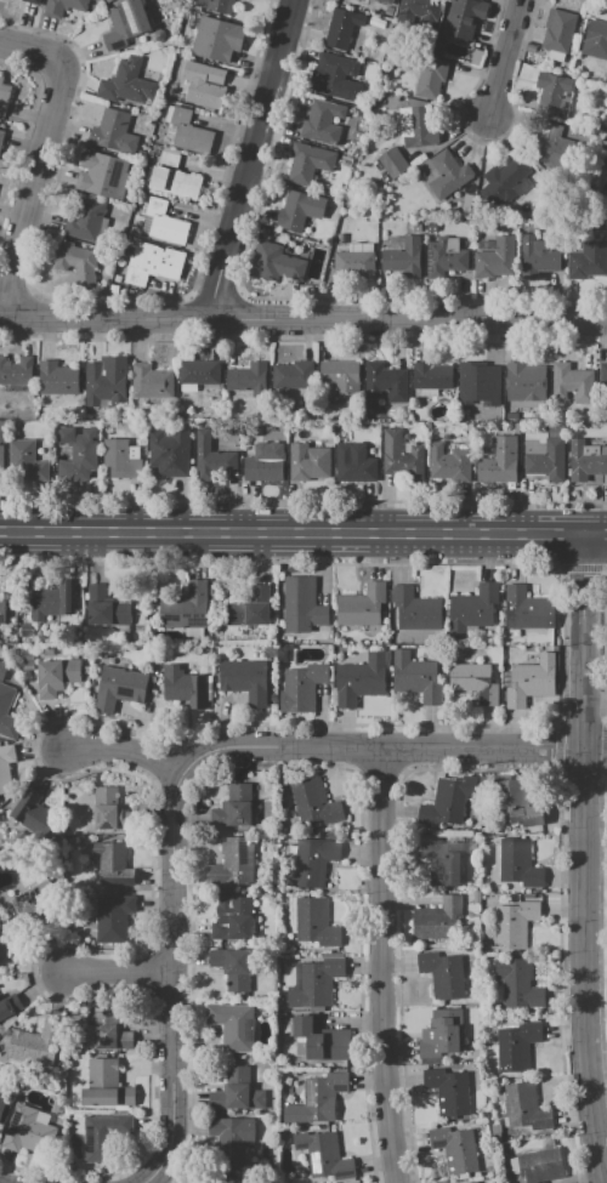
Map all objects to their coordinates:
building: (33, 0)
building: (96, 0)
building: (108, 1)
building: (382, 1)
building: (216, 5)
building: (63, 7)
building: (420, 12)
building: (464, 17)
building: (125, 23)
building: (345, 29)
building: (558, 30)
building: (216, 39)
building: (595, 39)
road: (32, 49)
road: (505, 55)
building: (334, 76)
building: (430, 76)
building: (606, 83)
building: (126, 84)
building: (204, 84)
building: (551, 92)
building: (5, 99)
building: (322, 123)
building: (416, 126)
building: (187, 131)
building: (0, 132)
building: (114, 132)
building: (554, 141)
road: (253, 158)
building: (603, 159)
building: (392, 161)
building: (310, 163)
building: (448, 174)
building: (102, 175)
building: (506, 176)
building: (174, 178)
road: (29, 186)
building: (300, 210)
building: (86, 220)
building: (163, 222)
building: (537, 257)
building: (403, 258)
building: (443, 260)
building: (495, 260)
building: (588, 260)
building: (76, 262)
building: (154, 263)
building: (274, 263)
building: (353, 265)
road: (109, 315)
road: (413, 318)
building: (16, 370)
building: (199, 371)
building: (602, 372)
building: (293, 374)
building: (478, 374)
building: (431, 375)
building: (249, 377)
building: (58, 379)
building: (106, 380)
building: (341, 380)
building: (151, 382)
building: (386, 382)
building: (524, 382)
building: (571, 383)
building: (511, 416)
building: (337, 423)
building: (170, 451)
building: (78, 454)
building: (402, 455)
building: (211, 457)
building: (545, 457)
building: (119, 459)
building: (586, 460)
building: (310, 461)
building: (499, 461)
building: (1, 462)
building: (25, 462)
building: (265, 462)
building: (354, 463)
building: (448, 466)
road: (294, 529)
road: (597, 529)
building: (53, 598)
building: (302, 604)
building: (362, 605)
building: (106, 607)
building: (186, 607)
building: (251, 608)
building: (523, 608)
building: (2, 609)
building: (415, 609)
building: (472, 609)
building: (57, 676)
building: (416, 676)
building: (245, 679)
building: (359, 679)
building: (473, 681)
building: (531, 681)
building: (185, 686)
building: (119, 688)
building: (302, 688)
road: (597, 700)
building: (7, 707)
road: (582, 724)
road: (380, 747)
road: (558, 747)
road: (603, 749)
road: (127, 750)
road: (596, 750)
building: (5, 768)
road: (580, 772)
building: (448, 801)
building: (314, 802)
building: (516, 803)
building: (234, 806)
building: (110, 809)
building: (28, 814)
road: (583, 855)
building: (438, 860)
building: (311, 861)
building: (233, 863)
building: (518, 863)
building: (113, 864)
building: (34, 904)
park: (606, 909)
building: (113, 917)
building: (435, 917)
building: (232, 918)
building: (316, 922)
building: (514, 923)
building: (5, 943)
road: (384, 965)
building: (232, 967)
road: (119, 973)
building: (442, 973)
road: (175, 980)
building: (316, 980)
building: (520, 983)
building: (7, 1002)
building: (232, 1025)
building: (108, 1030)
building: (442, 1035)
building: (320, 1039)
building: (39, 1042)
building: (516, 1046)
road: (597, 1077)
building: (106, 1085)
building: (448, 1091)
building: (237, 1092)
building: (317, 1098)
building: (1, 1103)
building: (524, 1107)
building: (25, 1131)
building: (103, 1134)
building: (231, 1138)
building: (454, 1149)
building: (324, 1155)
building: (538, 1166)
building: (232, 1181)
building: (460, 1182)

